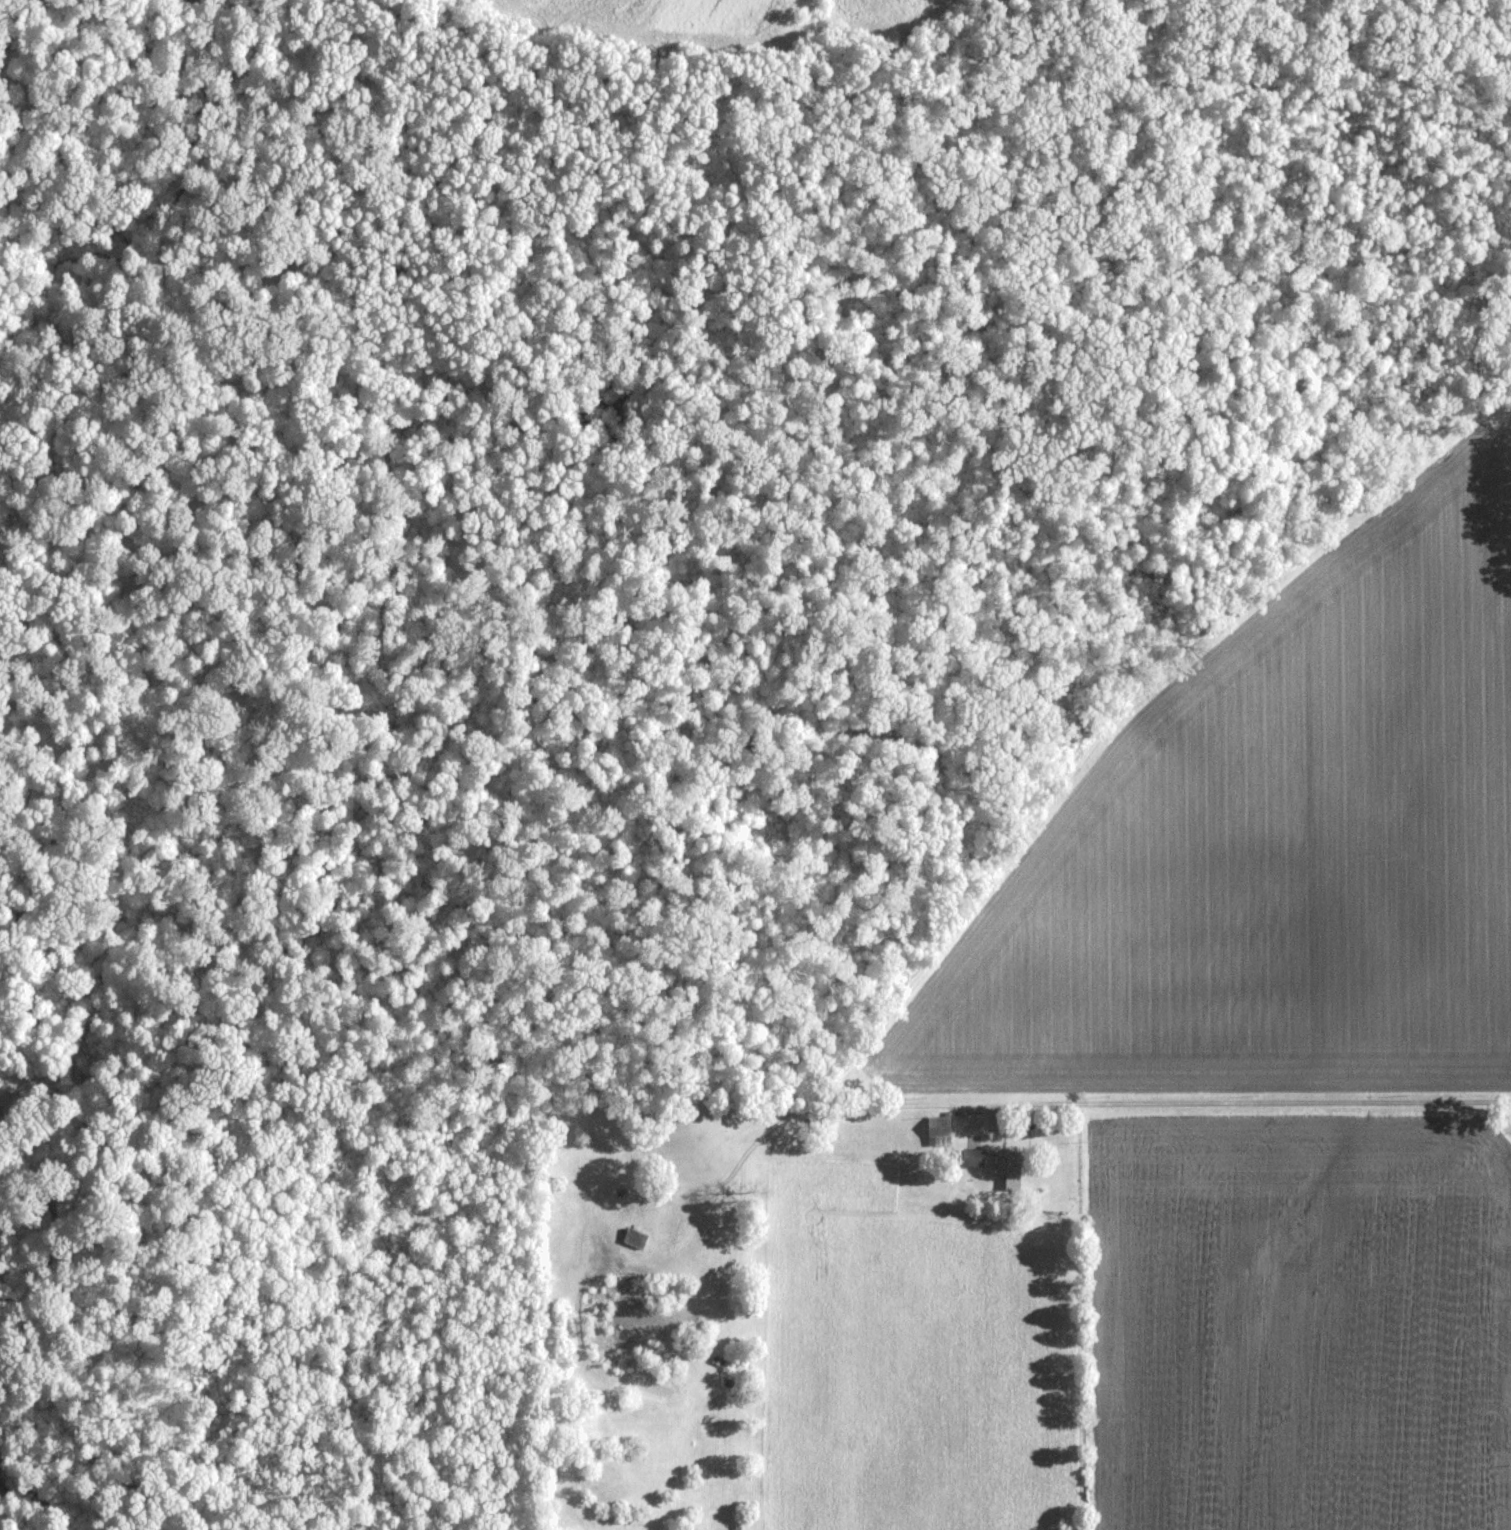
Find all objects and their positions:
road: (1085, 1103)
building: (943, 1129)
building: (1014, 1168)

